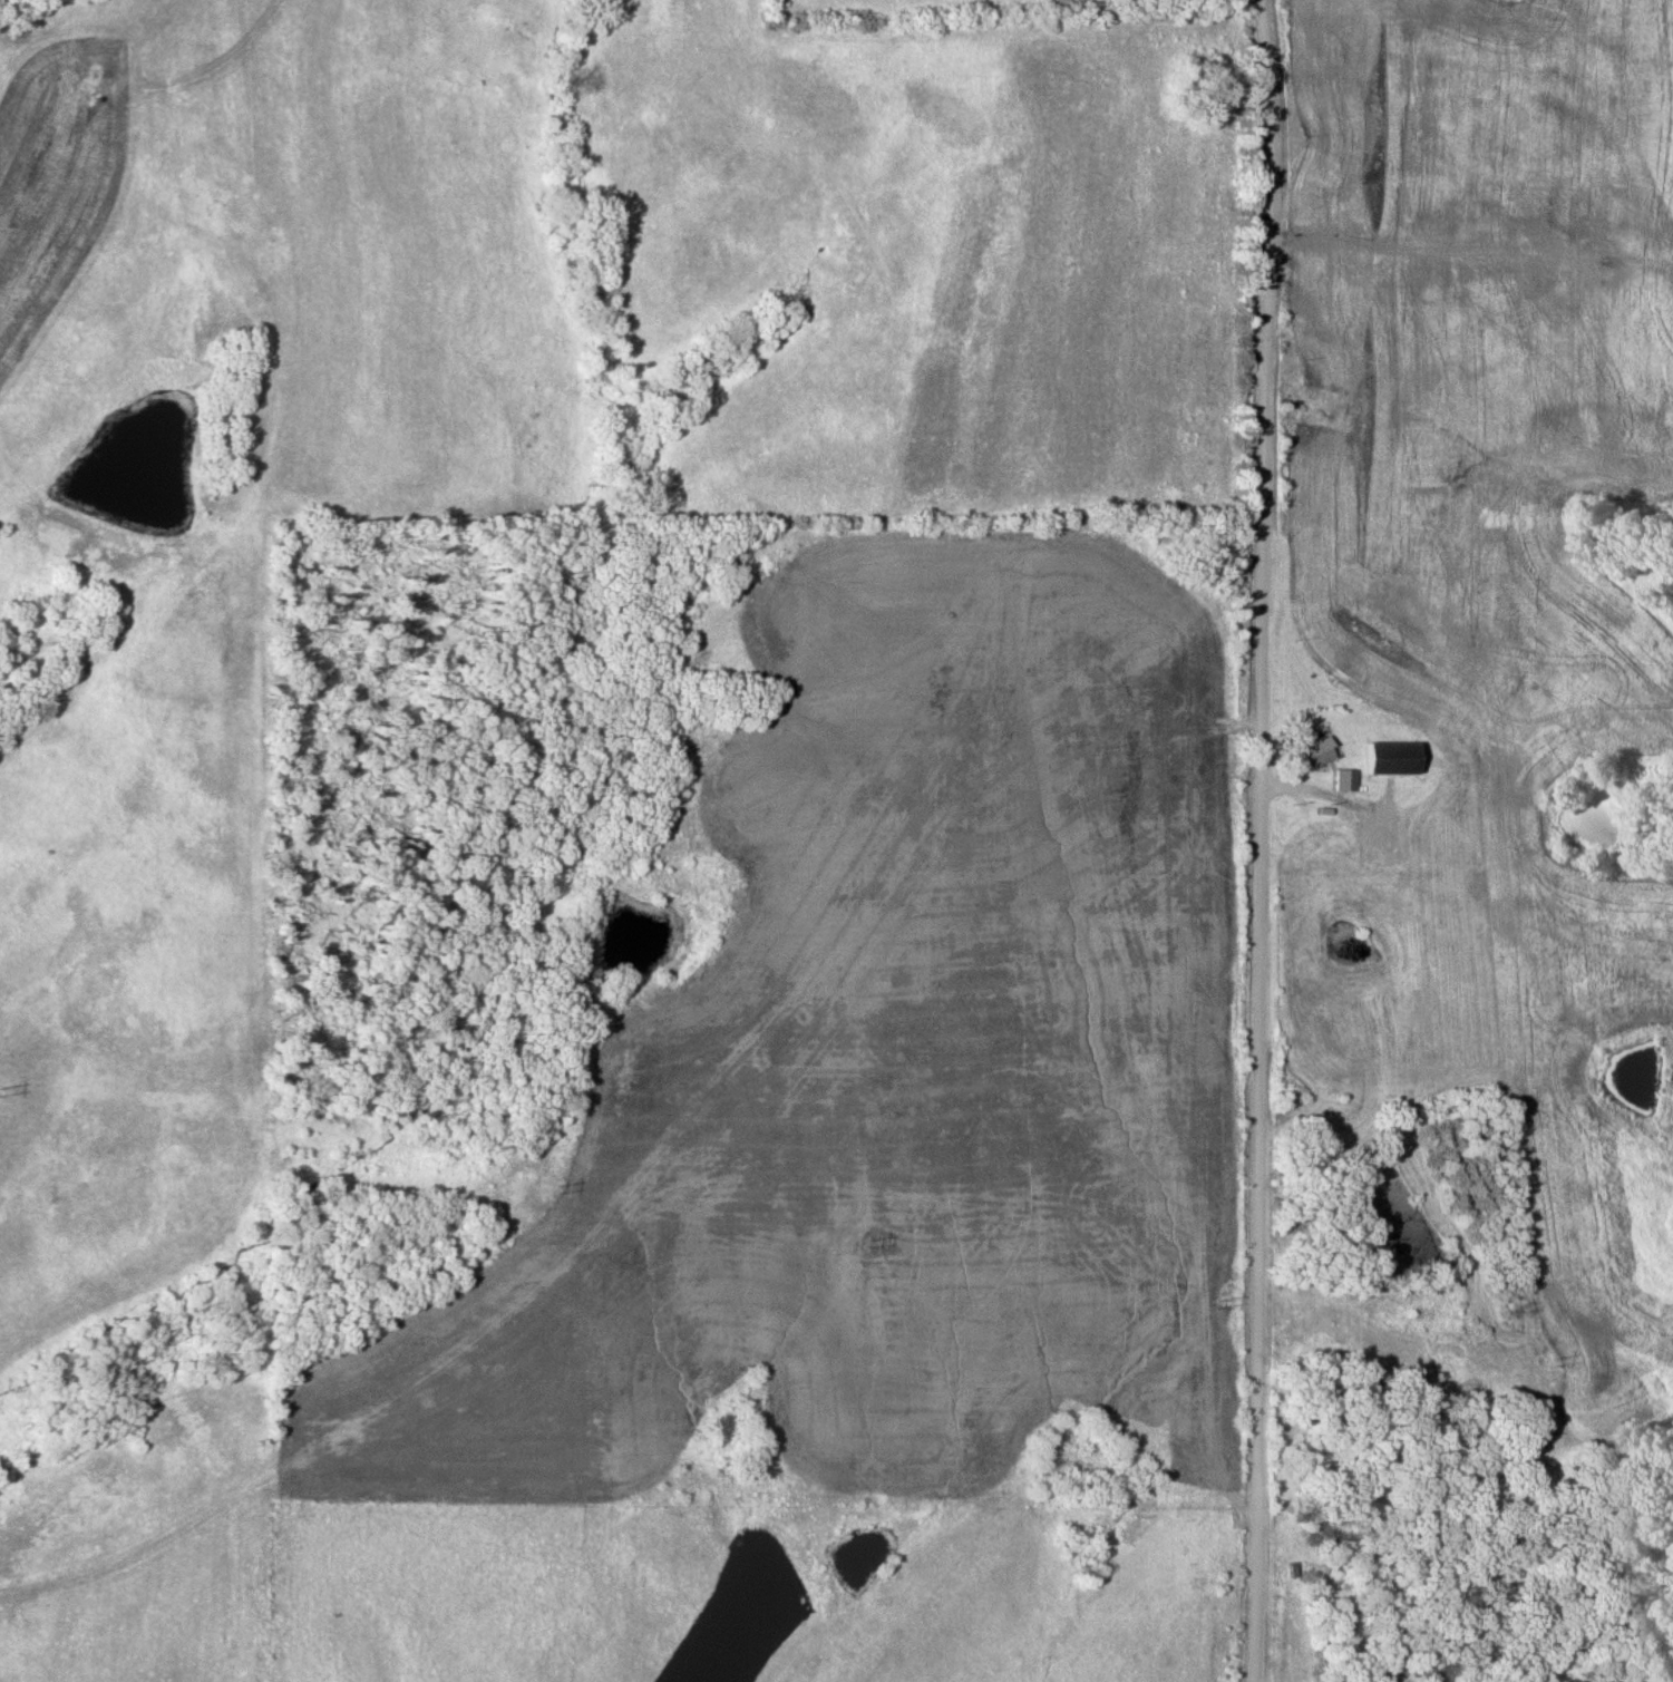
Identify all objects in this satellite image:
building: (1388, 761)
building: (1342, 782)
road: (1263, 840)
building: (1369, 840)

